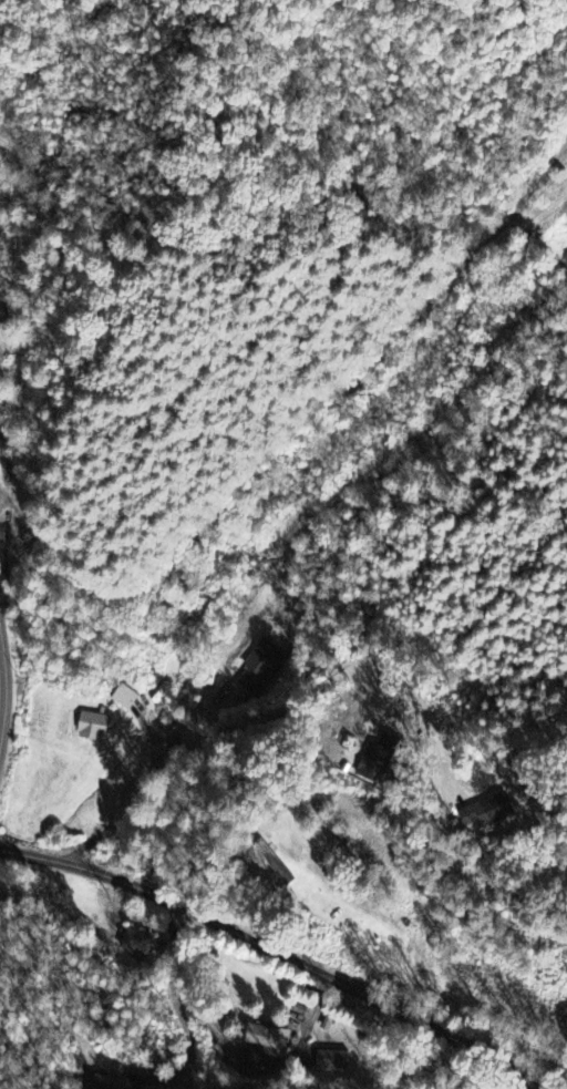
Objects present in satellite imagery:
road: (295, 439)
building: (260, 666)
road: (4, 686)
building: (125, 698)
road: (268, 713)
building: (94, 727)
building: (379, 758)
road: (313, 793)
building: (488, 812)
building: (137, 944)
road: (277, 952)
road: (532, 1057)

